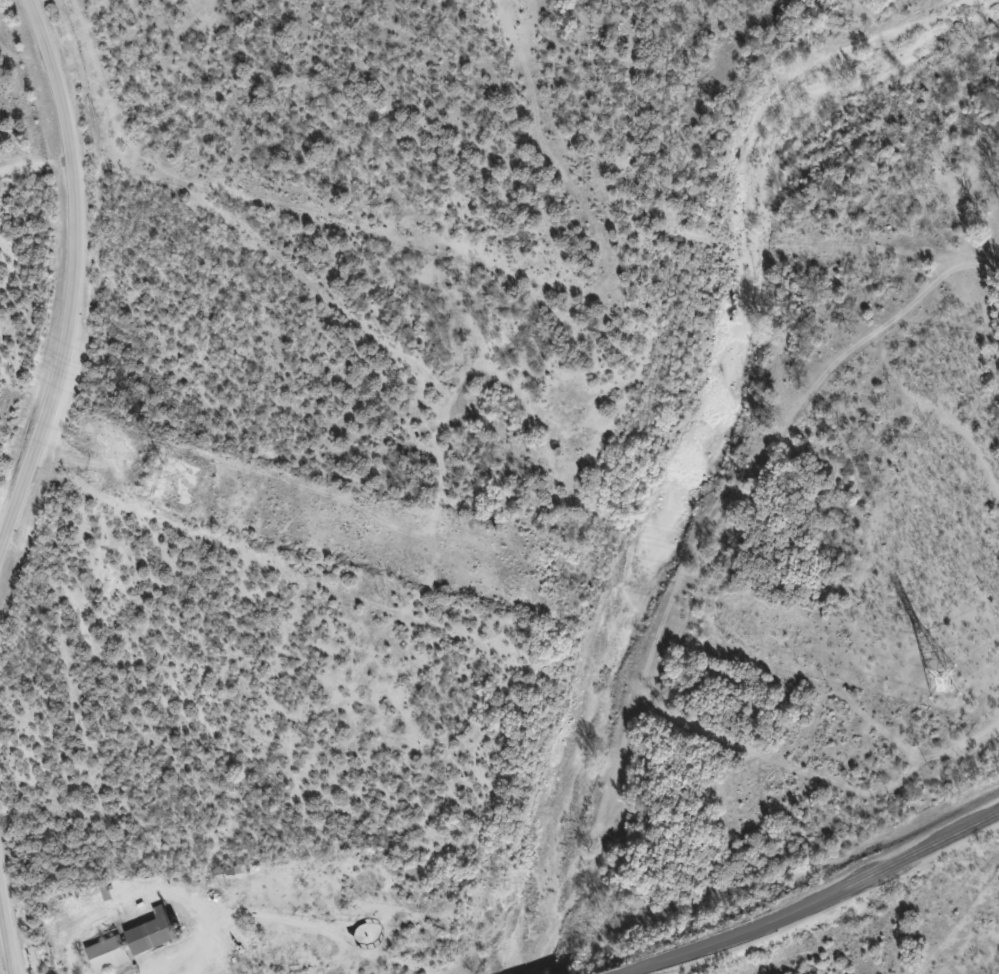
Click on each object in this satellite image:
road: (76, 281)
power tower: (163, 478)
power tower: (945, 685)
road: (822, 896)
road: (6, 933)
building: (151, 938)
building: (107, 958)
road: (635, 972)

